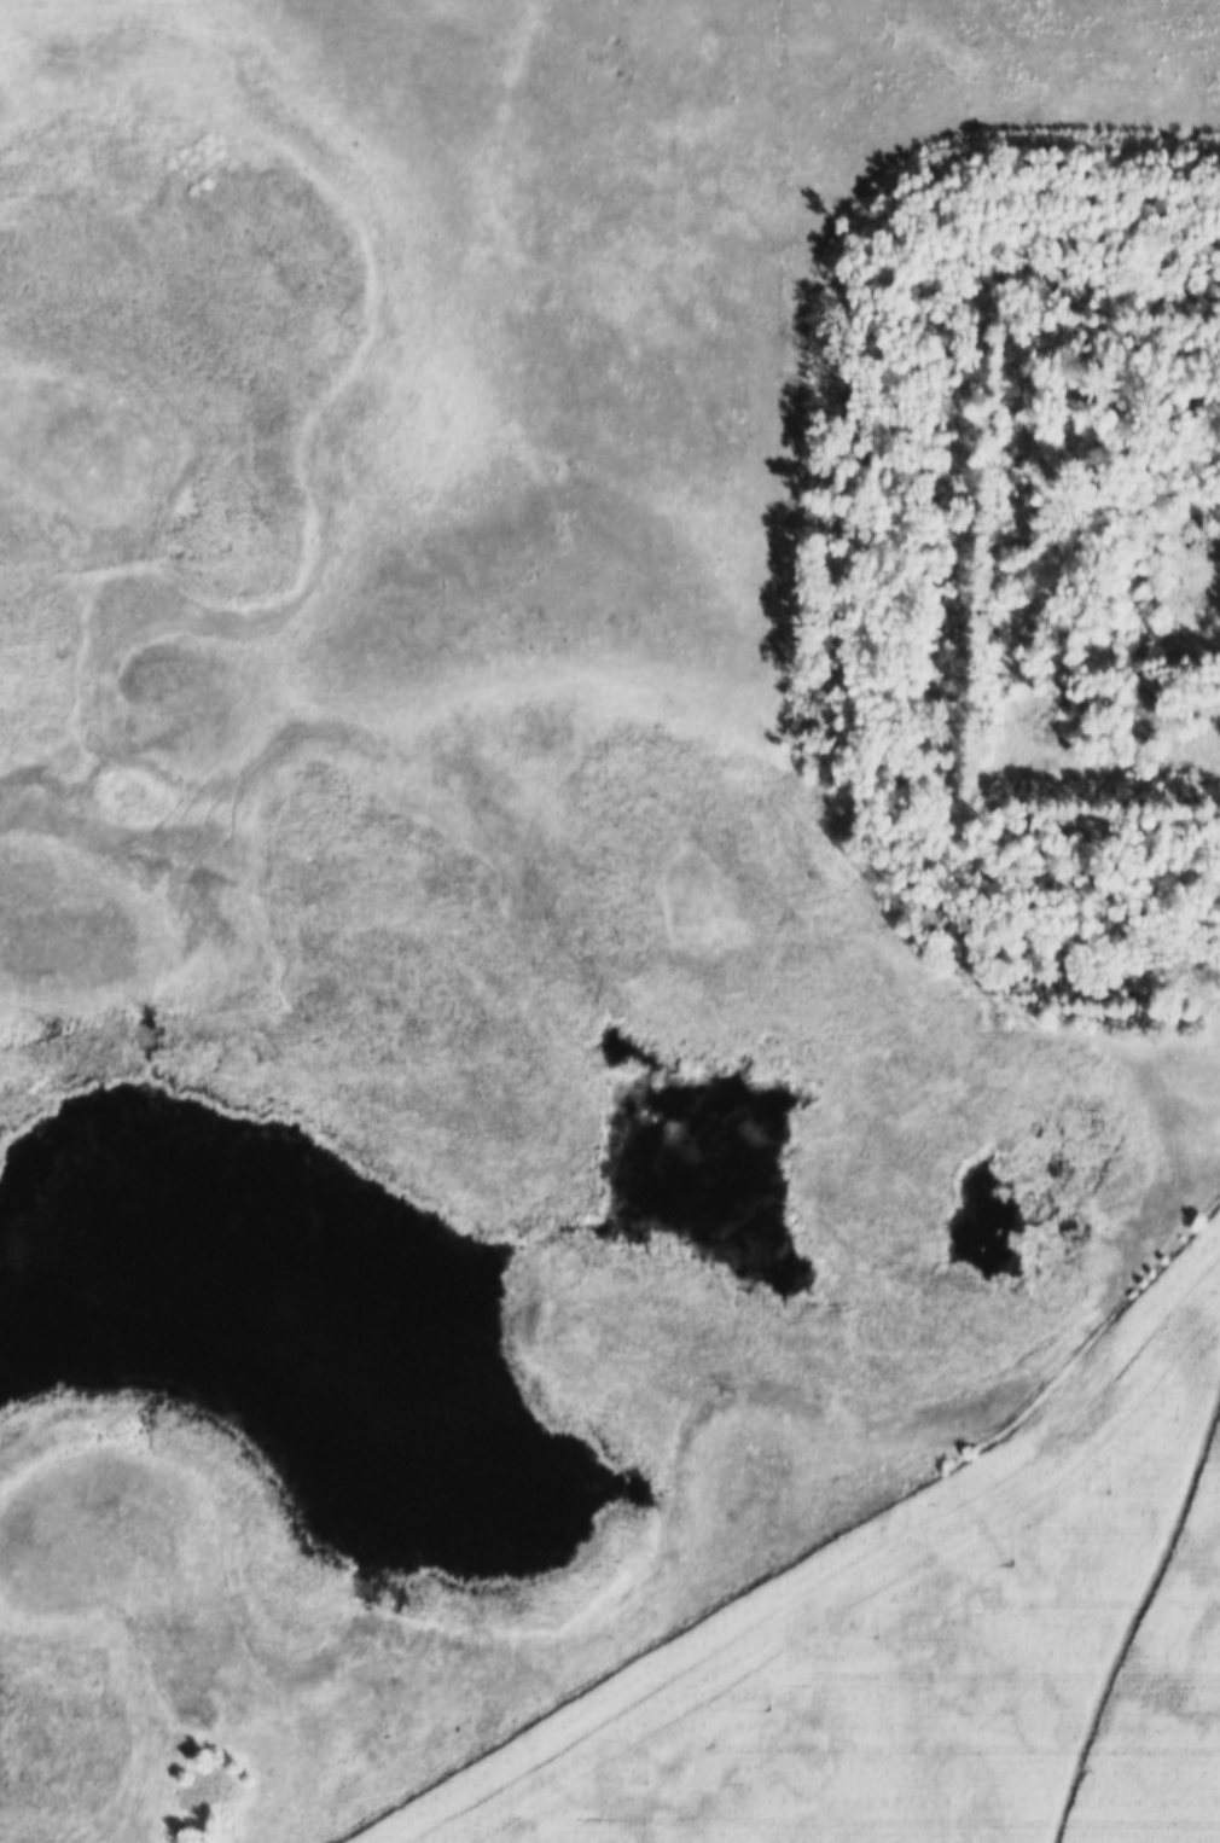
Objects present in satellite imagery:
road: (1134, 1604)

